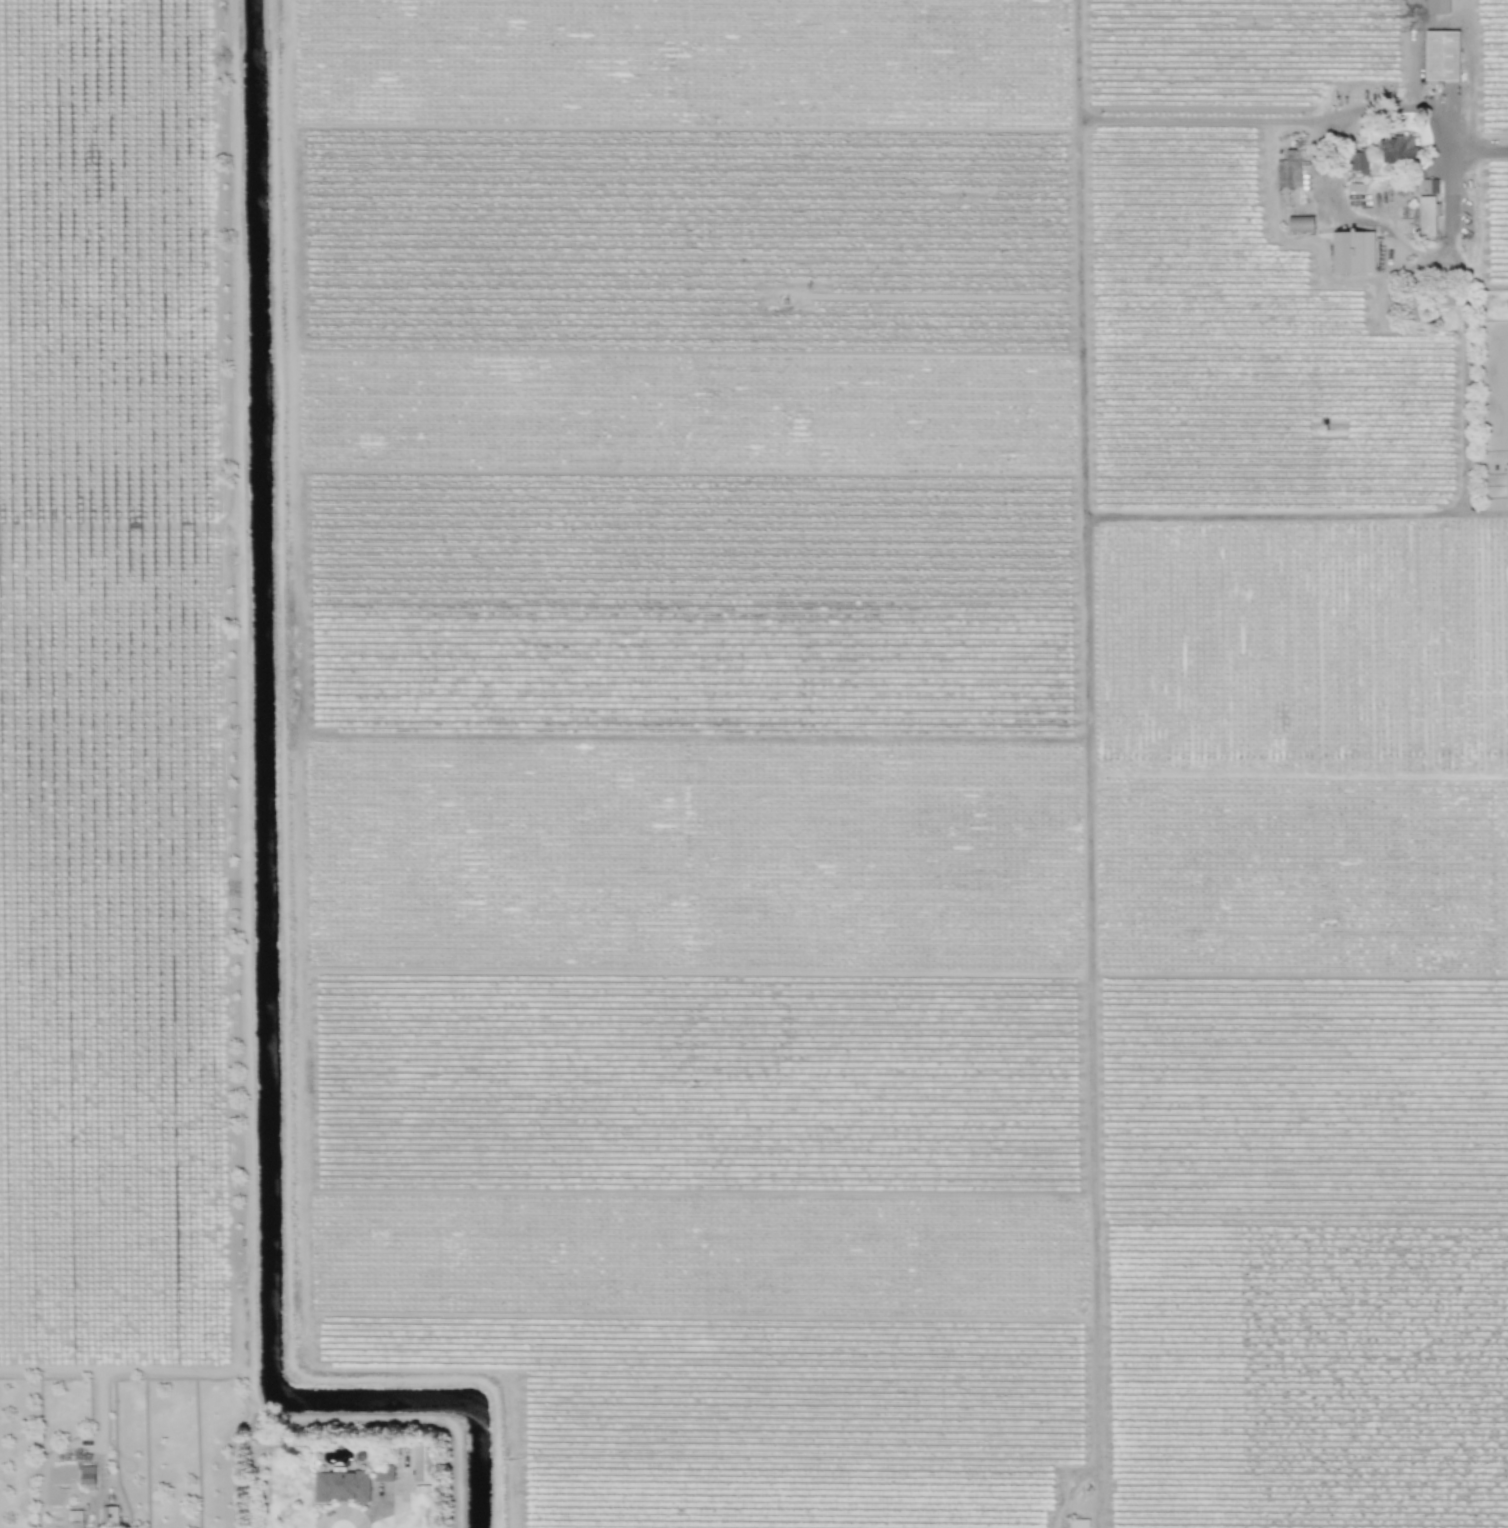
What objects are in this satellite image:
building: (1437, 7)
building: (1442, 55)
road: (1466, 79)
road: (1432, 102)
road: (1199, 120)
road: (1313, 135)
building: (1398, 149)
building: (1358, 164)
building: (1289, 168)
building: (1427, 217)
building: (1353, 252)
road: (1079, 259)
road: (1467, 323)
building: (1506, 480)
road: (1276, 515)
road: (1091, 1023)
building: (421, 1465)
building: (383, 1474)
building: (87, 1475)
building: (341, 1486)
building: (109, 1516)
building: (74, 1519)
building: (1079, 1523)

